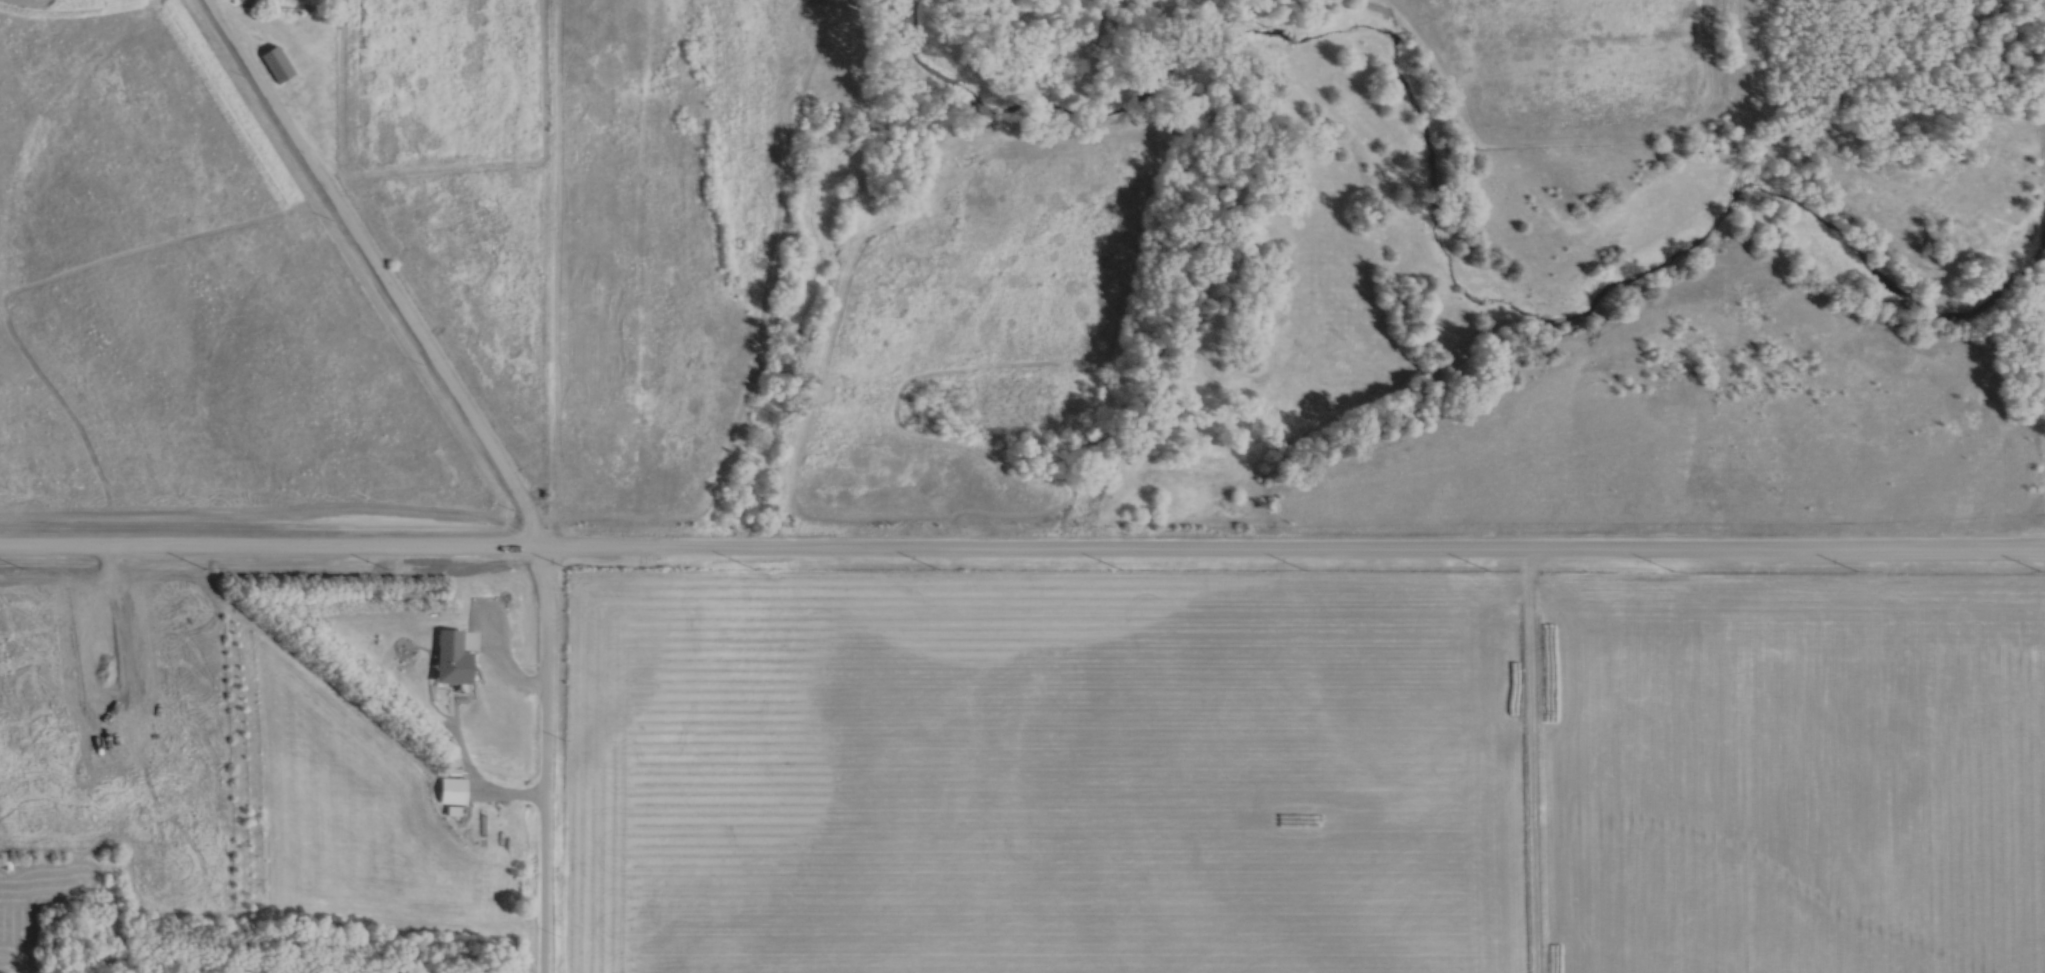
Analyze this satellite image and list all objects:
building: (277, 63)
road: (493, 452)
road: (1022, 551)
road: (1533, 762)
building: (451, 790)

